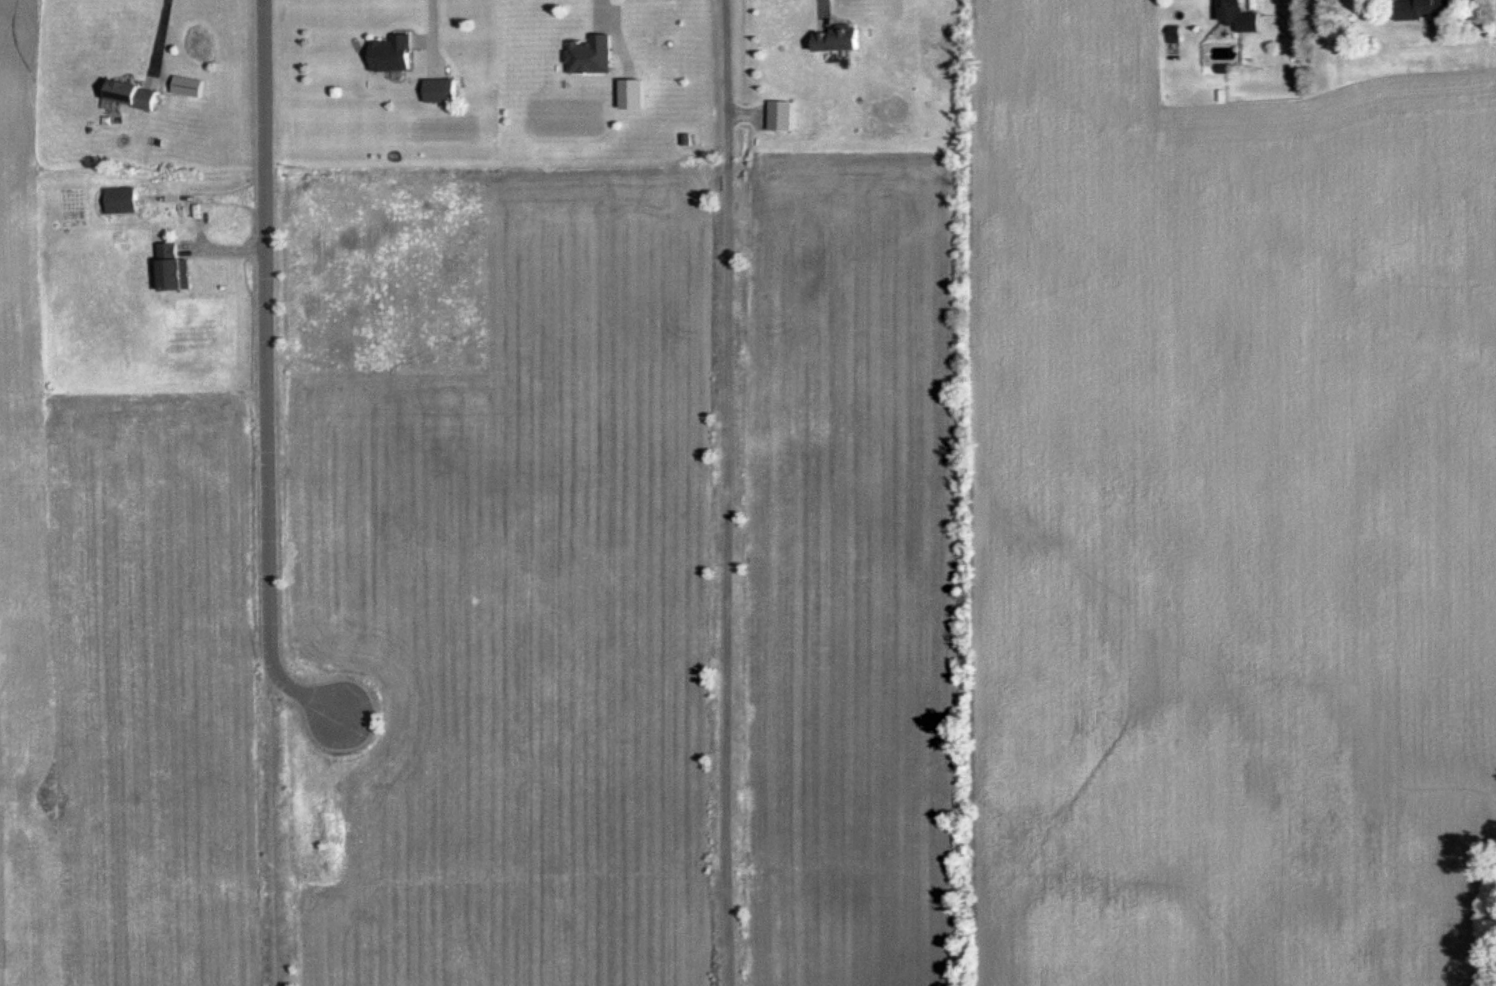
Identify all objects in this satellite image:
building: (1426, 9)
building: (1245, 16)
road: (415, 30)
road: (143, 34)
building: (844, 37)
building: (393, 52)
road: (722, 53)
building: (591, 54)
building: (443, 89)
building: (138, 93)
building: (635, 93)
building: (783, 115)
building: (126, 200)
building: (177, 269)
road: (250, 371)

